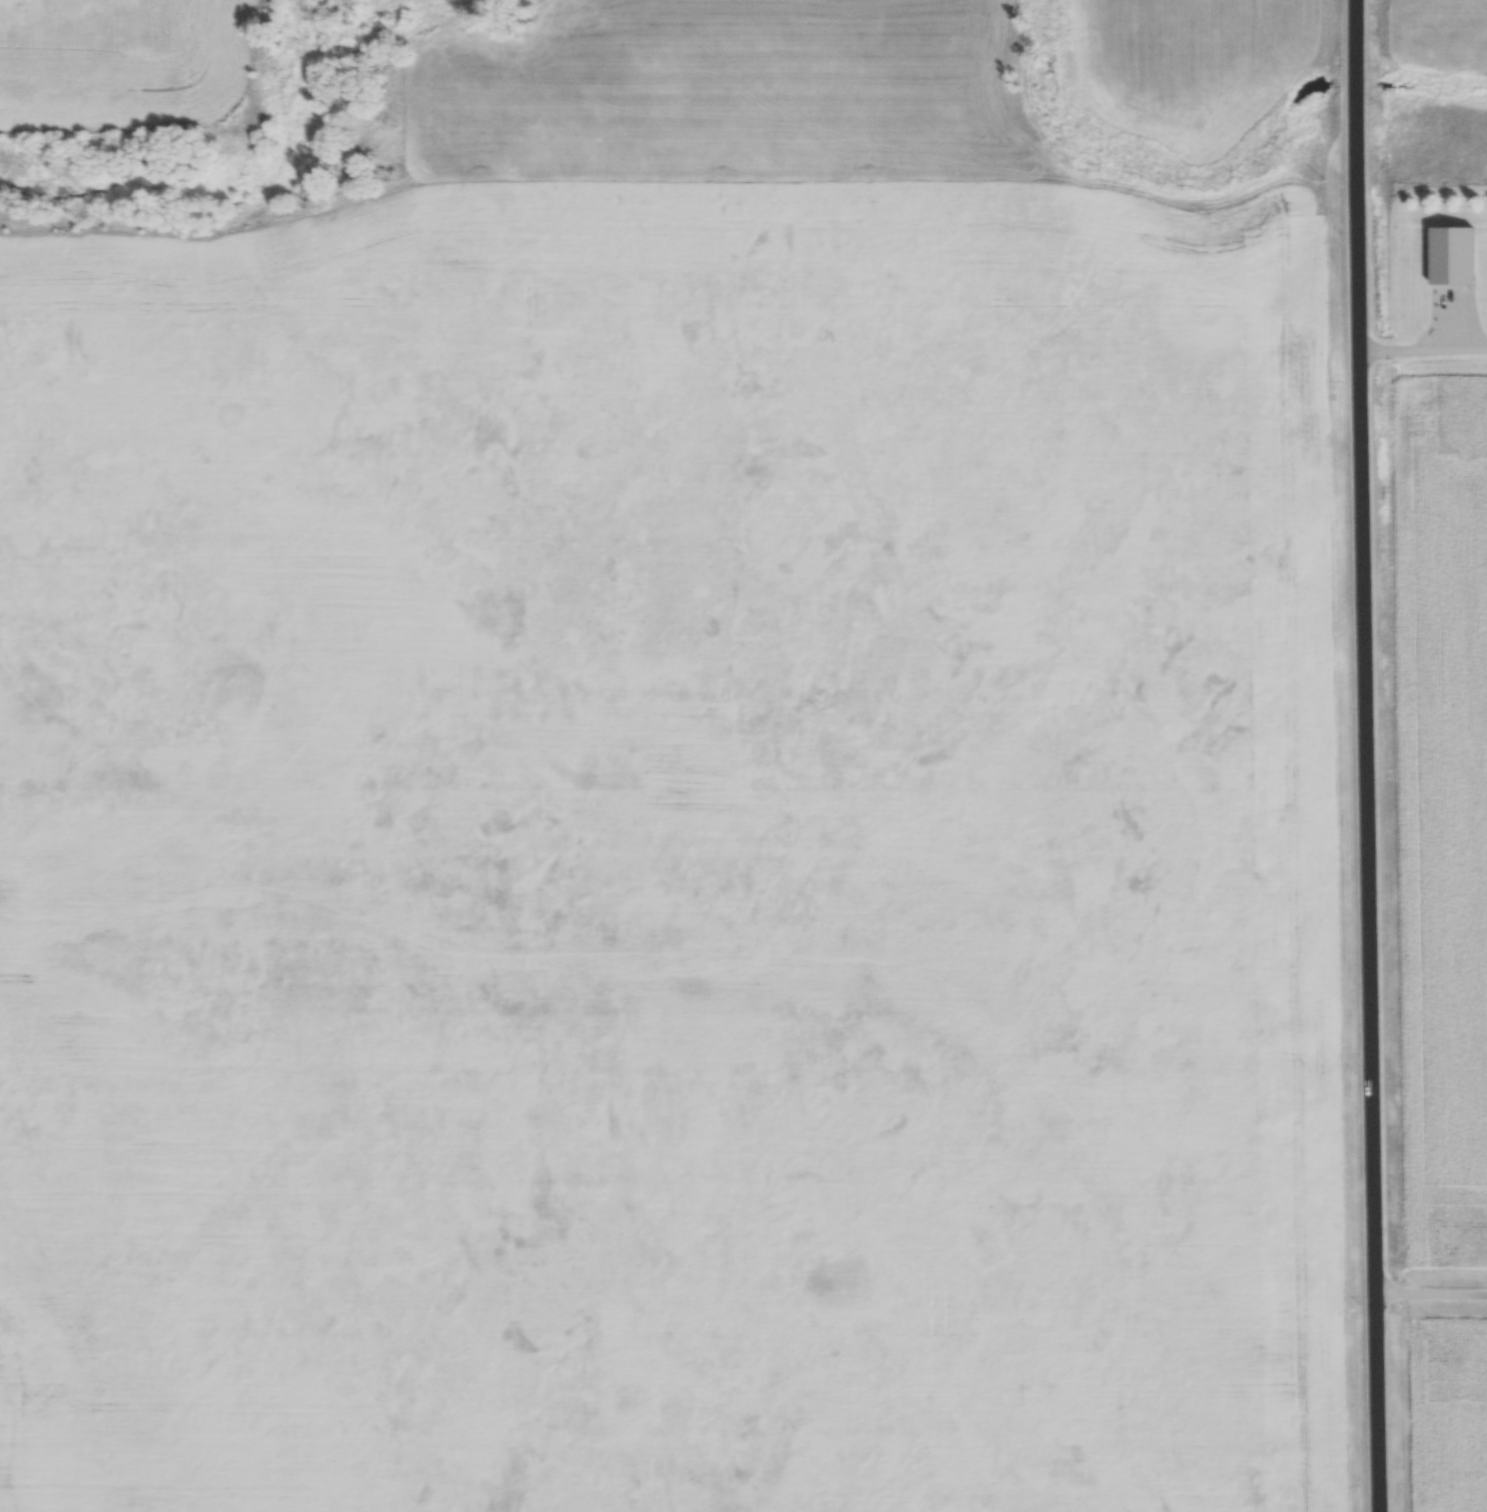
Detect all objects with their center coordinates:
road: (1422, 353)
road: (1365, 756)
road: (1430, 1294)

